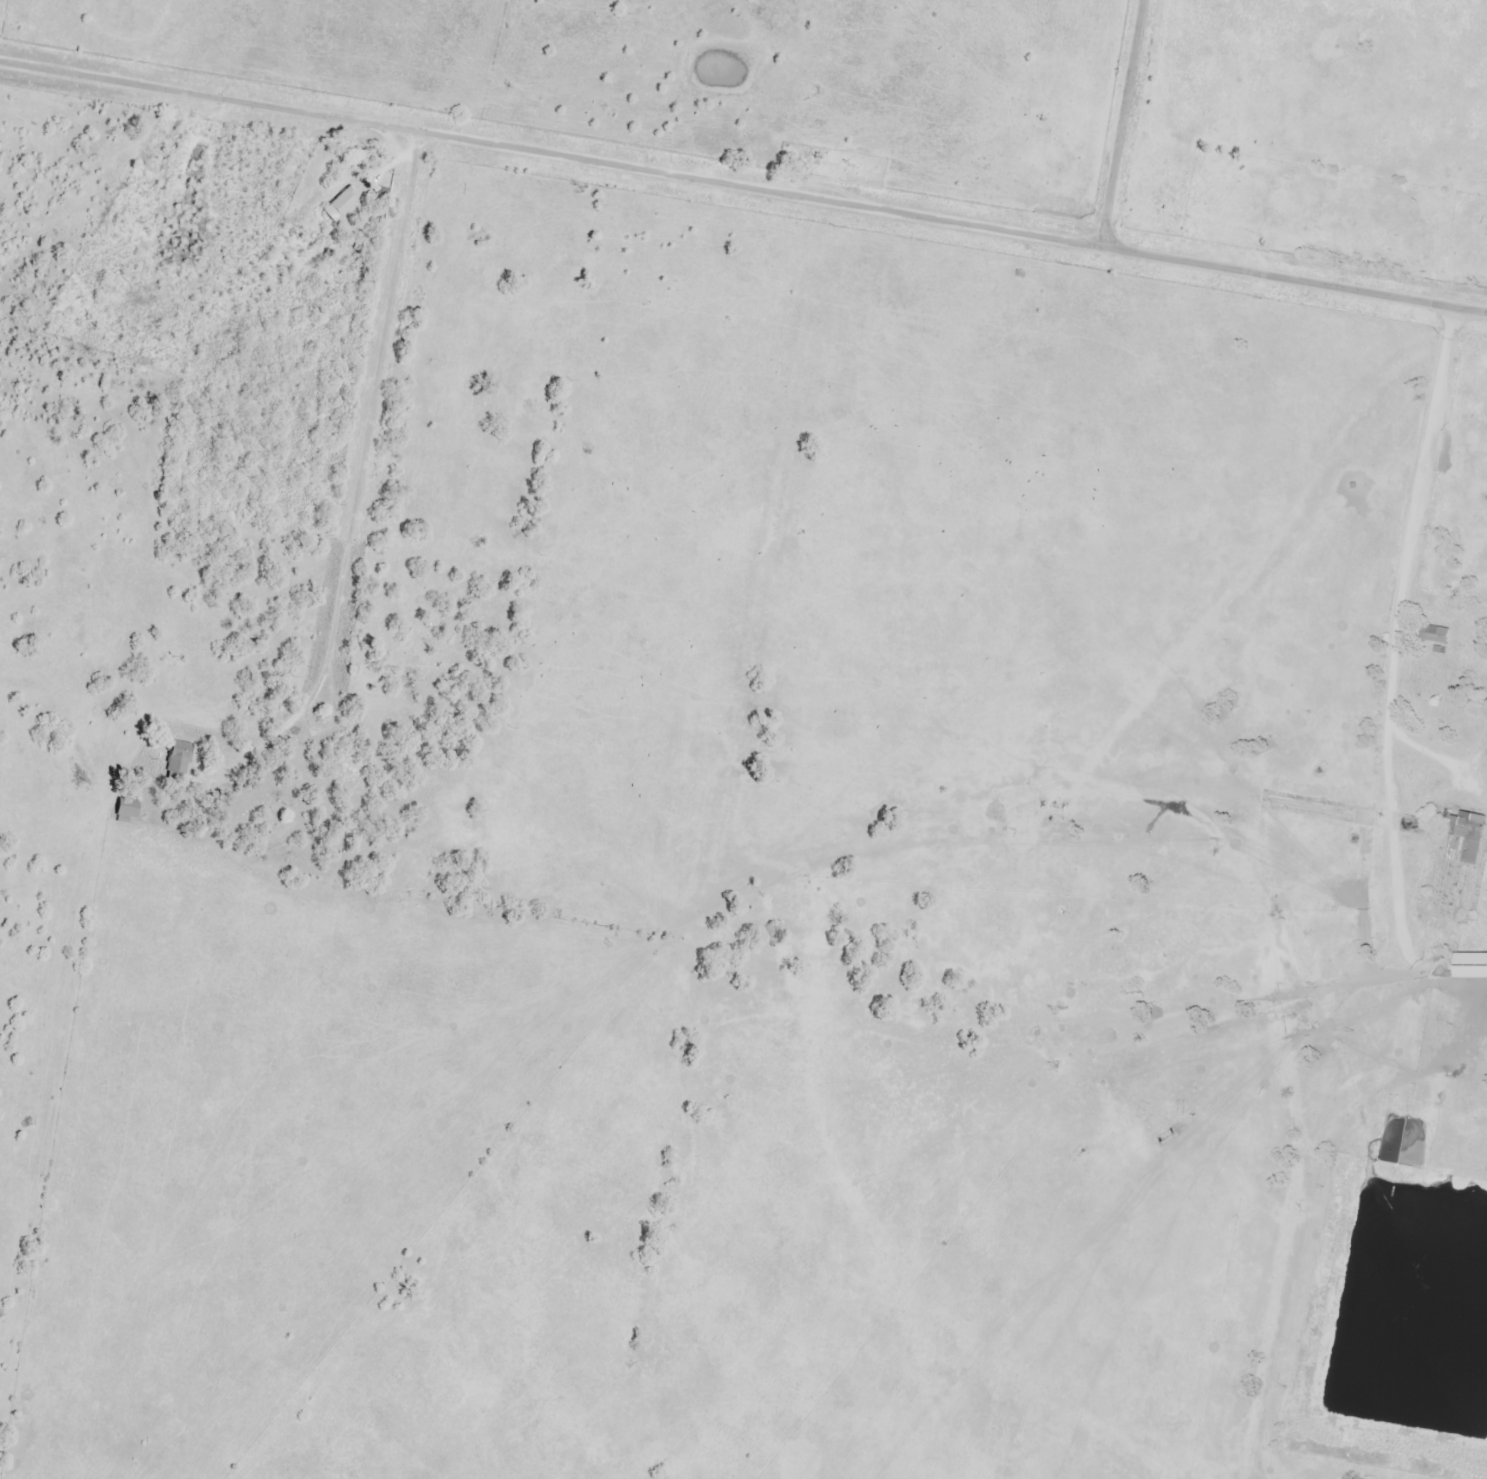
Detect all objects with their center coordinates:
road: (1120, 123)
road: (743, 186)
building: (340, 204)
road: (360, 474)
road: (1402, 578)
building: (1436, 634)
building: (1421, 708)
building: (1461, 718)
building: (178, 758)
building: (127, 811)
building: (1468, 831)
building: (1473, 966)

